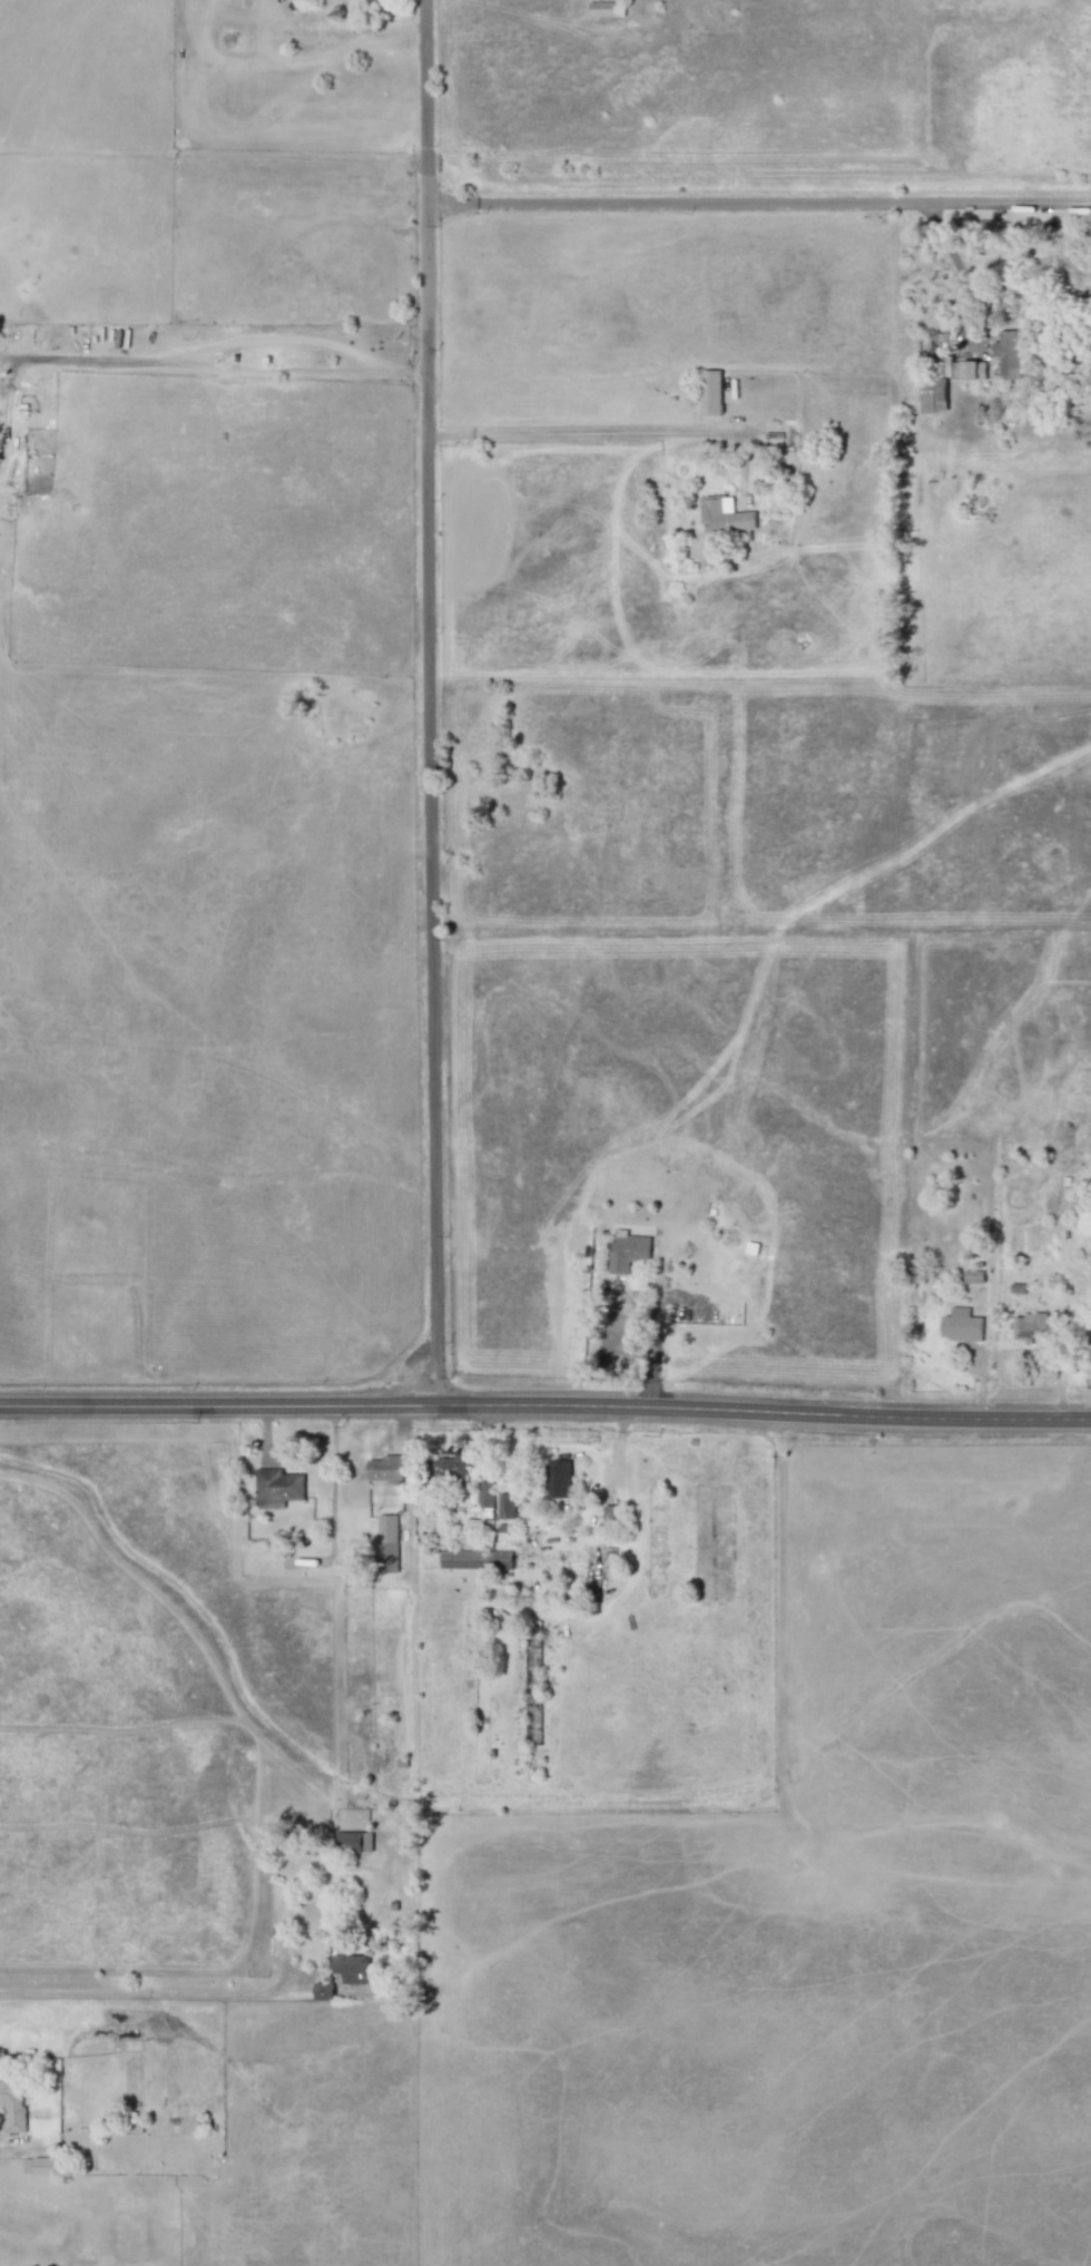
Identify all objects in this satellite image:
building: (606, 9)
road: (758, 204)
road: (961, 276)
building: (1006, 354)
road: (214, 364)
building: (965, 370)
building: (710, 392)
building: (933, 398)
road: (580, 433)
building: (724, 516)
road: (430, 703)
building: (627, 1250)
building: (972, 1276)
building: (961, 1326)
building: (1028, 1326)
road: (652, 1340)
road: (544, 1407)
building: (448, 1466)
building: (385, 1469)
building: (558, 1478)
building: (276, 1488)
building: (484, 1494)
building: (505, 1505)
building: (610, 1513)
building: (386, 1543)
building: (474, 1559)
road: (373, 1578)
building: (353, 1842)
building: (351, 1969)
building: (322, 1991)
road: (147, 1993)
building: (12, 2106)
building: (39, 2166)

